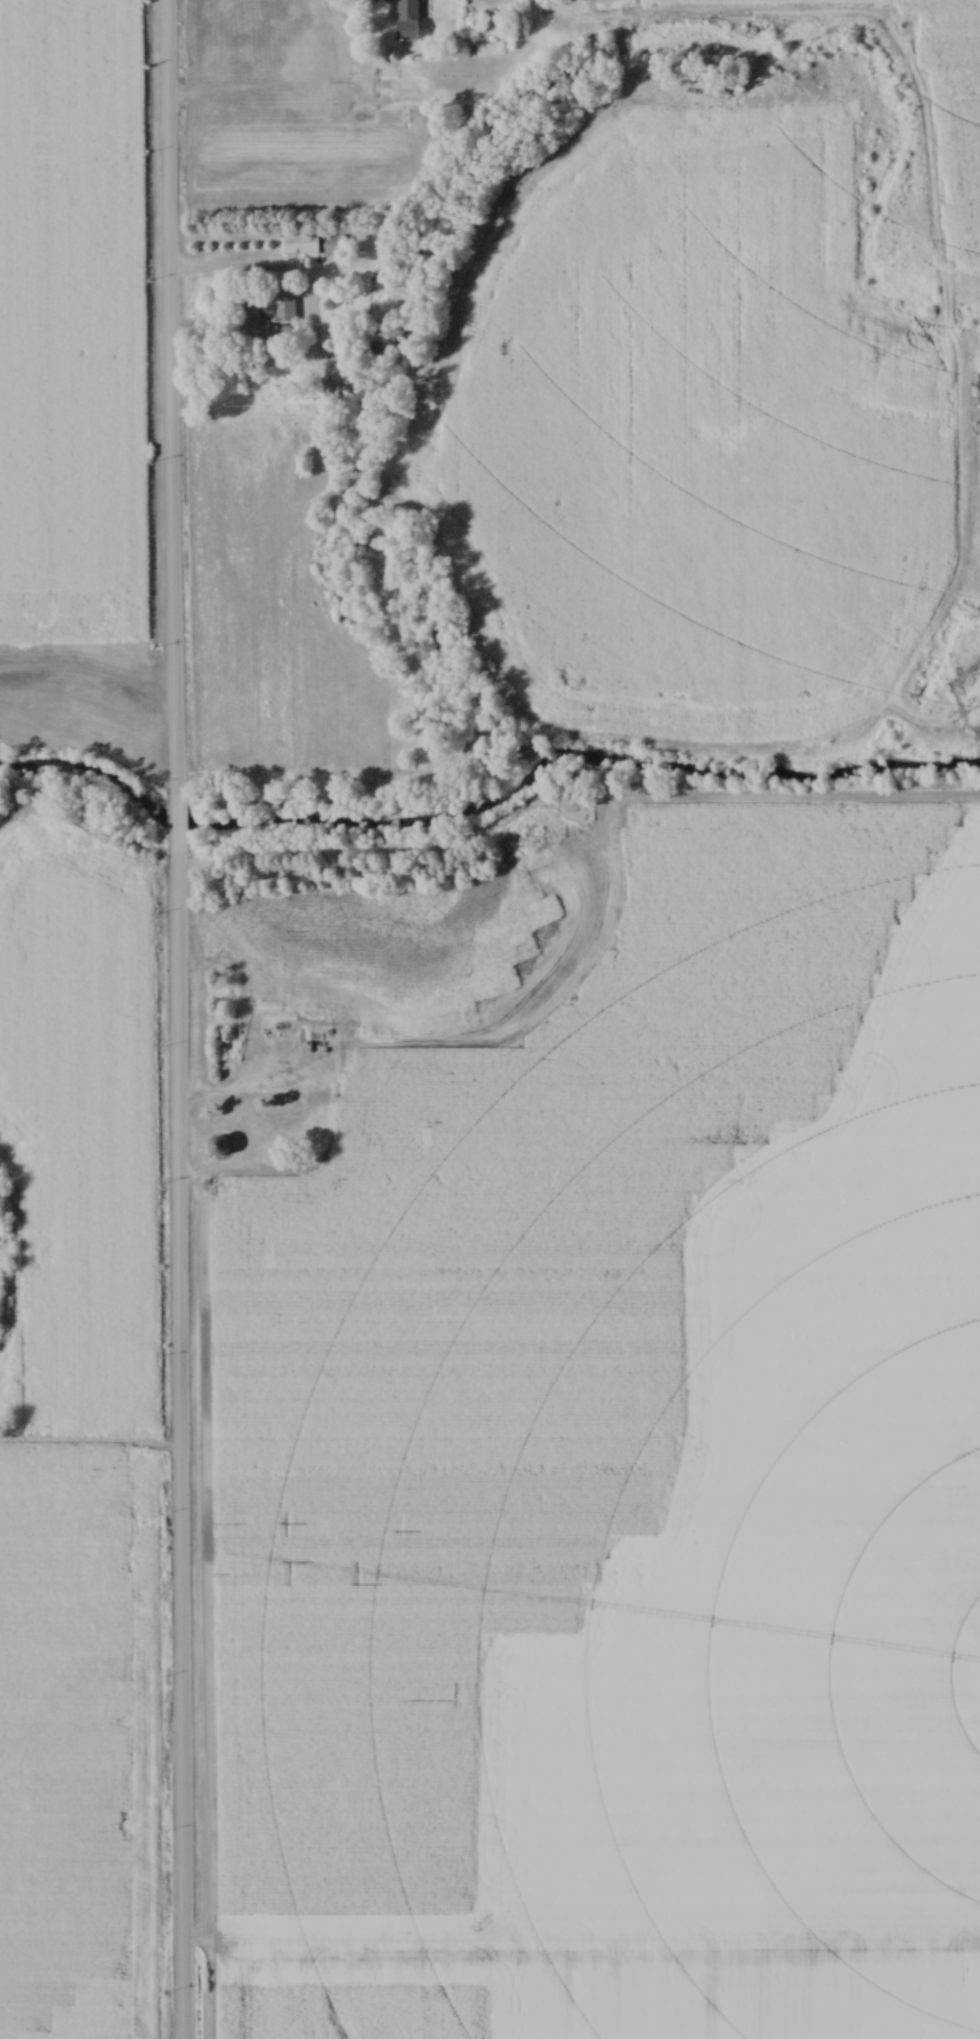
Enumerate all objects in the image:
building: (407, 20)
building: (300, 244)
building: (335, 246)
building: (284, 306)
road: (305, 321)
building: (260, 328)
building: (339, 395)
road: (167, 398)
river: (490, 799)
building: (576, 806)
road: (178, 827)
road: (351, 1140)
building: (219, 1147)
road: (175, 1448)

